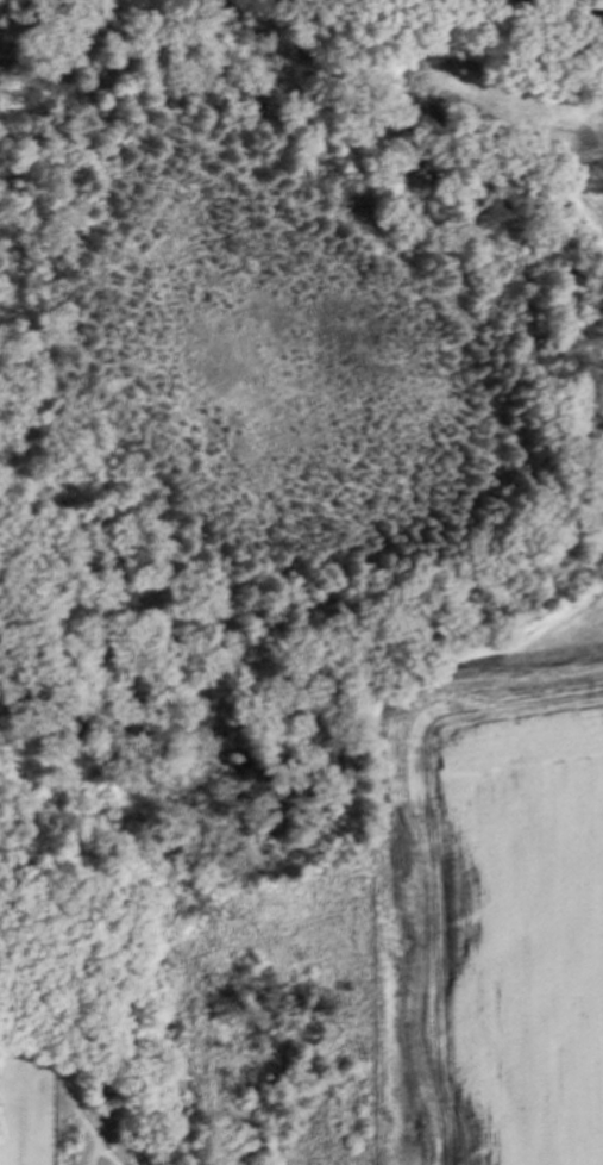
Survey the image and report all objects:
crop: (554, 141)
crop: (504, 892)

